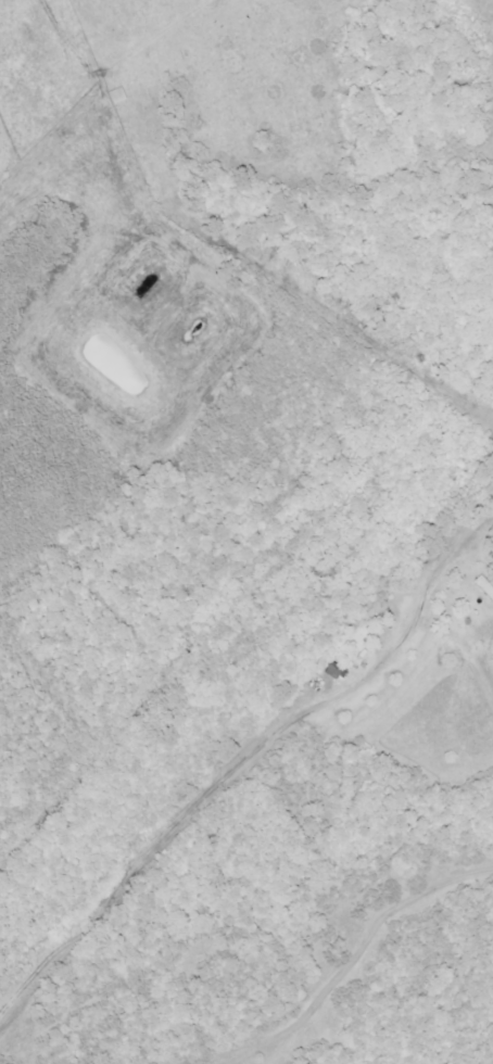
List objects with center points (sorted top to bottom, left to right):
road: (119, 55)
building: (486, 584)
building: (337, 670)
road: (301, 713)
road: (60, 923)

